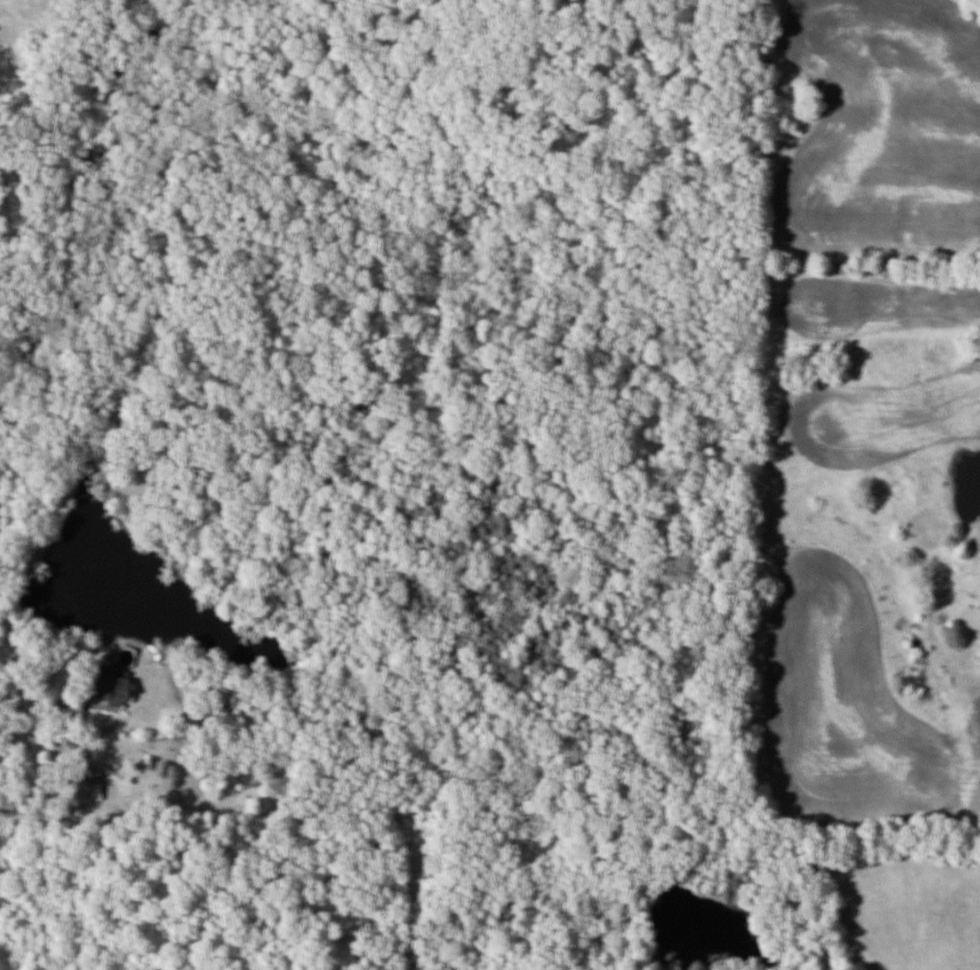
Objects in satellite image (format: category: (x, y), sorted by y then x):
building: (112, 684)

